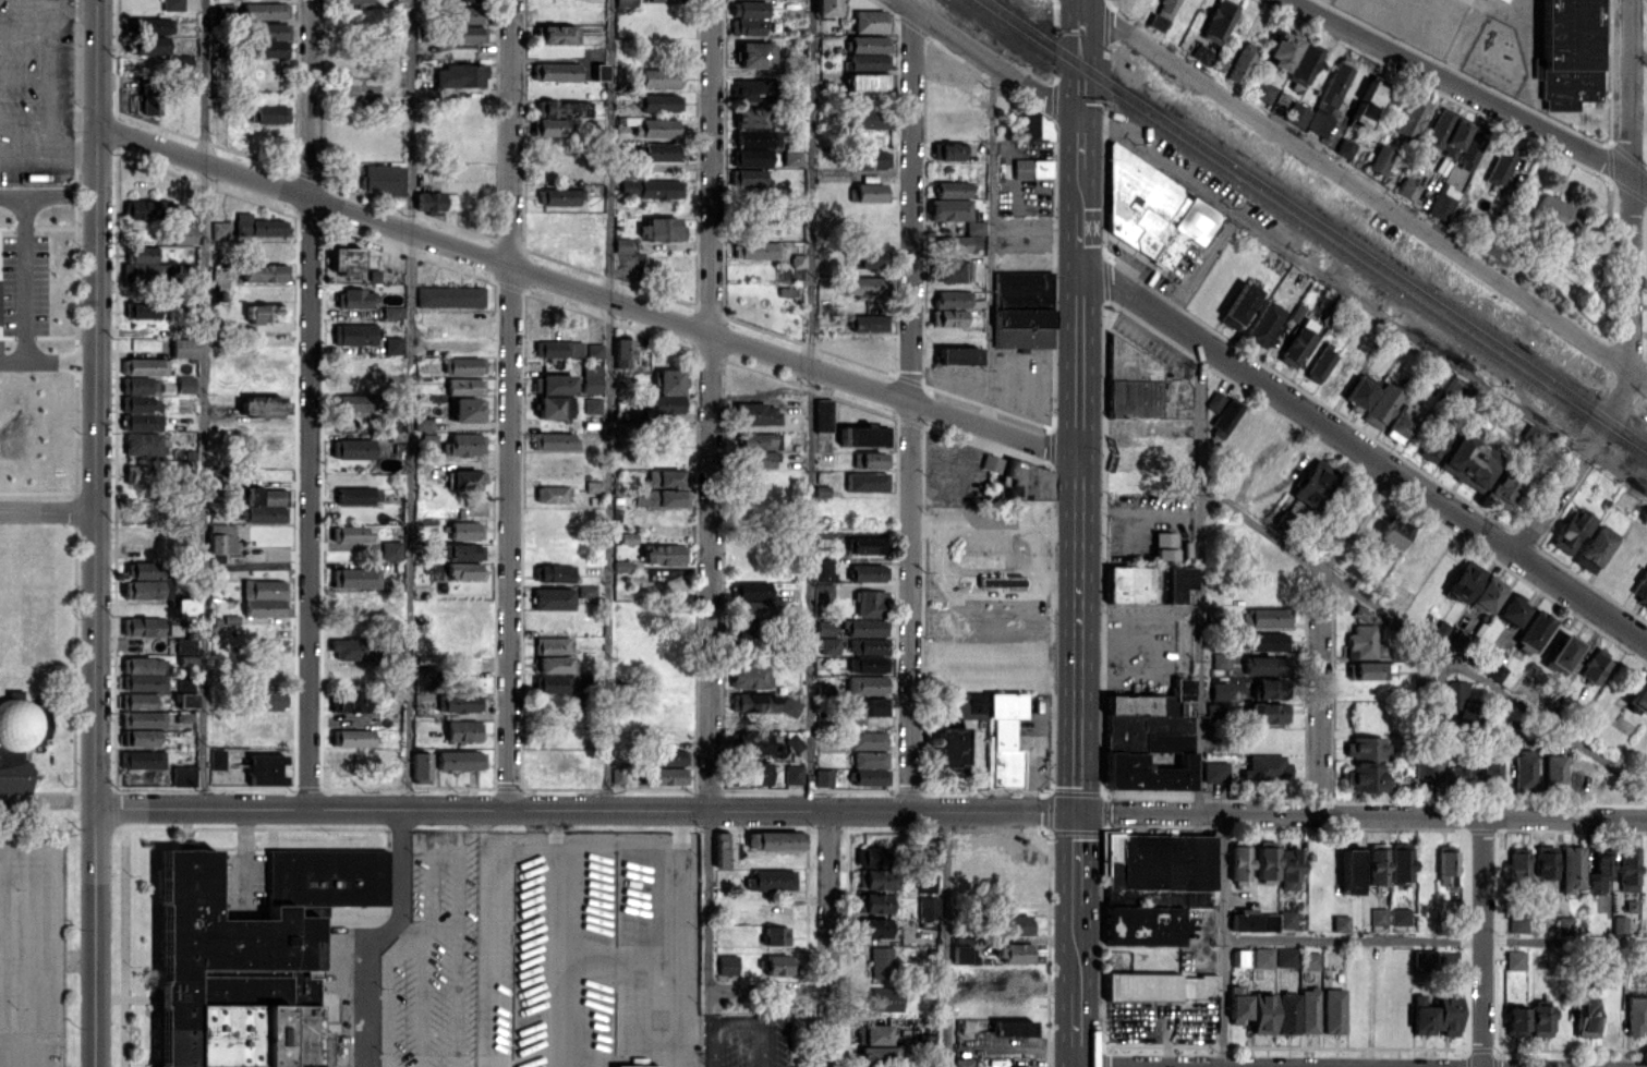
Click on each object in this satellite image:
building: (460, 0)
building: (352, 1)
road: (1295, 1)
building: (626, 2)
building: (172, 4)
building: (749, 8)
building: (825, 8)
building: (1165, 8)
building: (226, 10)
building: (265, 10)
road: (1440, 13)
building: (465, 14)
building: (869, 21)
building: (1218, 21)
building: (1155, 22)
building: (152, 25)
road: (1468, 25)
building: (747, 26)
building: (464, 34)
building: (557, 34)
building: (270, 39)
building: (869, 44)
building: (147, 45)
building: (1283, 49)
building: (753, 53)
building: (1199, 53)
building: (1567, 53)
road: (1638, 58)
road: (990, 60)
building: (867, 61)
building: (1220, 61)
building: (181, 62)
building: (1240, 62)
building: (1304, 63)
building: (556, 71)
building: (600, 71)
building: (459, 75)
building: (657, 76)
road: (51, 78)
building: (864, 81)
building: (750, 89)
building: (1262, 90)
road: (1468, 90)
building: (150, 98)
building: (1328, 99)
building: (659, 101)
building: (1367, 105)
building: (562, 108)
building: (269, 113)
building: (1296, 114)
building: (752, 117)
building: (1410, 117)
building: (869, 119)
building: (1031, 125)
building: (546, 126)
building: (655, 126)
building: (1438, 126)
road: (511, 133)
building: (758, 137)
building: (1344, 147)
building: (1469, 149)
building: (950, 150)
building: (661, 151)
road: (48, 157)
building: (754, 157)
building: (791, 157)
building: (873, 158)
building: (1379, 159)
building: (1500, 166)
building: (1031, 168)
building: (747, 177)
building: (382, 178)
building: (651, 187)
building: (952, 189)
road: (1364, 190)
building: (1405, 190)
building: (870, 192)
road: (303, 196)
building: (557, 196)
building: (436, 202)
building: (1442, 202)
building: (137, 208)
building: (949, 208)
building: (1150, 209)
building: (1555, 214)
railway: (1320, 220)
building: (257, 226)
building: (974, 227)
railway: (1310, 227)
building: (662, 229)
building: (220, 230)
building: (180, 234)
building: (954, 243)
building: (621, 244)
road: (991, 244)
building: (865, 257)
building: (344, 259)
building: (798, 260)
building: (146, 265)
road: (1197, 266)
road: (23, 271)
building: (953, 271)
building: (264, 272)
road: (1638, 279)
building: (861, 286)
building: (787, 291)
road: (1628, 293)
building: (450, 296)
building: (356, 298)
building: (950, 298)
building: (1237, 305)
road: (1364, 305)
building: (1021, 308)
building: (142, 310)
building: (393, 312)
building: (265, 313)
building: (948, 317)
building: (865, 323)
building: (1263, 324)
building: (353, 334)
building: (1297, 341)
building: (392, 344)
building: (184, 348)
building: (557, 348)
building: (595, 350)
building: (622, 352)
building: (957, 354)
road: (795, 361)
road: (47, 363)
building: (462, 365)
building: (1319, 365)
building: (144, 366)
building: (591, 378)
building: (185, 384)
building: (553, 384)
building: (464, 385)
building: (1129, 386)
building: (1455, 388)
building: (1360, 390)
building: (665, 392)
building: (1213, 400)
building: (354, 401)
road: (203, 402)
road: (308, 402)
road: (409, 402)
road: (608, 403)
road: (710, 403)
building: (140, 404)
building: (592, 404)
road: (809, 404)
building: (263, 405)
building: (1381, 405)
building: (553, 407)
building: (467, 409)
road: (910, 409)
building: (756, 413)
building: (823, 414)
building: (1224, 416)
building: (423, 423)
building: (1401, 425)
building: (867, 436)
building: (552, 440)
building: (758, 440)
building: (144, 444)
building: (463, 444)
building: (1432, 446)
building: (352, 448)
road: (1363, 452)
building: (760, 459)
building: (870, 459)
building: (1468, 461)
building: (991, 462)
building: (137, 473)
building: (664, 476)
building: (464, 478)
building: (865, 481)
building: (1027, 481)
building: (1311, 484)
building: (594, 486)
building: (1502, 487)
building: (552, 494)
building: (353, 495)
building: (664, 497)
building: (264, 505)
road: (47, 511)
road: (1353, 518)
road: (994, 520)
building: (465, 530)
building: (1570, 530)
building: (1392, 532)
road: (95, 533)
building: (351, 533)
road: (1078, 533)
road: (510, 536)
building: (221, 539)
building: (867, 542)
road: (1037, 545)
building: (1163, 545)
building: (1594, 548)
building: (391, 549)
building: (462, 551)
building: (661, 554)
building: (144, 569)
building: (464, 569)
building: (823, 569)
road: (992, 570)
building: (554, 572)
building: (867, 572)
building: (355, 577)
road: (1198, 577)
building: (1000, 581)
building: (1464, 581)
building: (1148, 583)
building: (1642, 586)
building: (147, 589)
building: (586, 591)
building: (825, 593)
building: (1487, 593)
building: (264, 597)
building: (751, 597)
building: (553, 598)
building: (870, 603)
building: (1645, 605)
building: (184, 606)
building: (1511, 608)
building: (1360, 613)
building: (1265, 617)
building: (141, 626)
building: (867, 627)
building: (1440, 628)
building: (744, 629)
building: (1535, 629)
road: (1426, 639)
building: (1268, 641)
building: (1361, 641)
building: (1461, 642)
building: (185, 644)
building: (553, 645)
building: (828, 645)
building: (869, 645)
building: (354, 648)
building: (1562, 652)
building: (185, 659)
building: (1220, 660)
building: (1483, 662)
building: (555, 664)
building: (868, 664)
building: (1264, 665)
building: (1595, 665)
building: (1365, 670)
building: (1495, 672)
building: (143, 674)
building: (748, 676)
building: (182, 681)
building: (554, 683)
building: (867, 683)
building: (1269, 688)
building: (1219, 691)
road: (1319, 691)
building: (1455, 694)
building: (1638, 698)
building: (266, 699)
building: (138, 700)
building: (186, 700)
building: (351, 702)
building: (460, 702)
building: (753, 702)
building: (969, 704)
building: (869, 706)
building: (1215, 712)
building: (1269, 712)
building: (142, 717)
building: (463, 730)
road: (1440, 733)
building: (140, 737)
building: (351, 737)
building: (1004, 739)
building: (1149, 739)
building: (868, 740)
building: (19, 741)
building: (750, 742)
building: (795, 742)
building: (1366, 747)
building: (950, 749)
building: (142, 759)
building: (217, 759)
building: (460, 759)
building: (870, 759)
building: (421, 766)
building: (1265, 766)
building: (265, 768)
building: (1524, 768)
building: (1213, 771)
building: (794, 773)
building: (1554, 773)
building: (750, 774)
building: (183, 775)
building: (665, 775)
building: (870, 776)
building: (823, 777)
building: (1366, 777)
building: (1646, 777)
road: (46, 800)
road: (585, 808)
traffic signals: (1078, 812)
road: (1363, 814)
building: (775, 839)
building: (723, 849)
building: (928, 857)
building: (1159, 861)
building: (1545, 861)
building: (1238, 862)
building: (1265, 862)
building: (1377, 864)
building: (1400, 864)
building: (1517, 864)
building: (875, 866)
building: (1288, 866)
building: (1445, 866)
building: (1627, 868)
building: (1572, 869)
building: (1349, 871)
building: (1599, 873)
building: (766, 880)
building: (923, 884)
building: (1195, 899)
building: (875, 902)
building: (928, 907)
road: (707, 909)
building: (1378, 916)
building: (1400, 916)
building: (1286, 919)
building: (1252, 920)
building: (1340, 922)
building: (1017, 924)
building: (1517, 924)
building: (1564, 924)
building: (1143, 925)
building: (873, 927)
building: (776, 934)
road: (379, 935)
road: (43, 938)
road: (828, 938)
road: (947, 938)
road: (1222, 941)
road: (1434, 941)
road: (1482, 942)
building: (251, 945)
parking lot: (32, 948)
building: (964, 949)
building: (1015, 953)
road: (69, 954)
building: (1242, 957)
building: (1262, 957)
building: (1285, 957)
building: (1422, 957)
building: (1514, 959)
building: (1310, 960)
building: (882, 961)
building: (1448, 961)
building: (776, 963)
building: (727, 965)
building: (1160, 986)
road: (767, 989)
building: (883, 998)
building: (1237, 1005)
building: (1308, 1010)
building: (1333, 1010)
building: (1448, 1011)
building: (1262, 1013)
building: (1287, 1014)
building: (1636, 1014)
building: (1586, 1018)
building: (1422, 1019)
building: (1540, 1019)
building: (1515, 1020)
road: (739, 1022)
building: (1013, 1027)
building: (875, 1033)
building: (881, 1054)
building: (964, 1063)
building: (637, 1065)
building: (1018, 1066)
road: (1128, 1066)
road: (1149, 1066)

